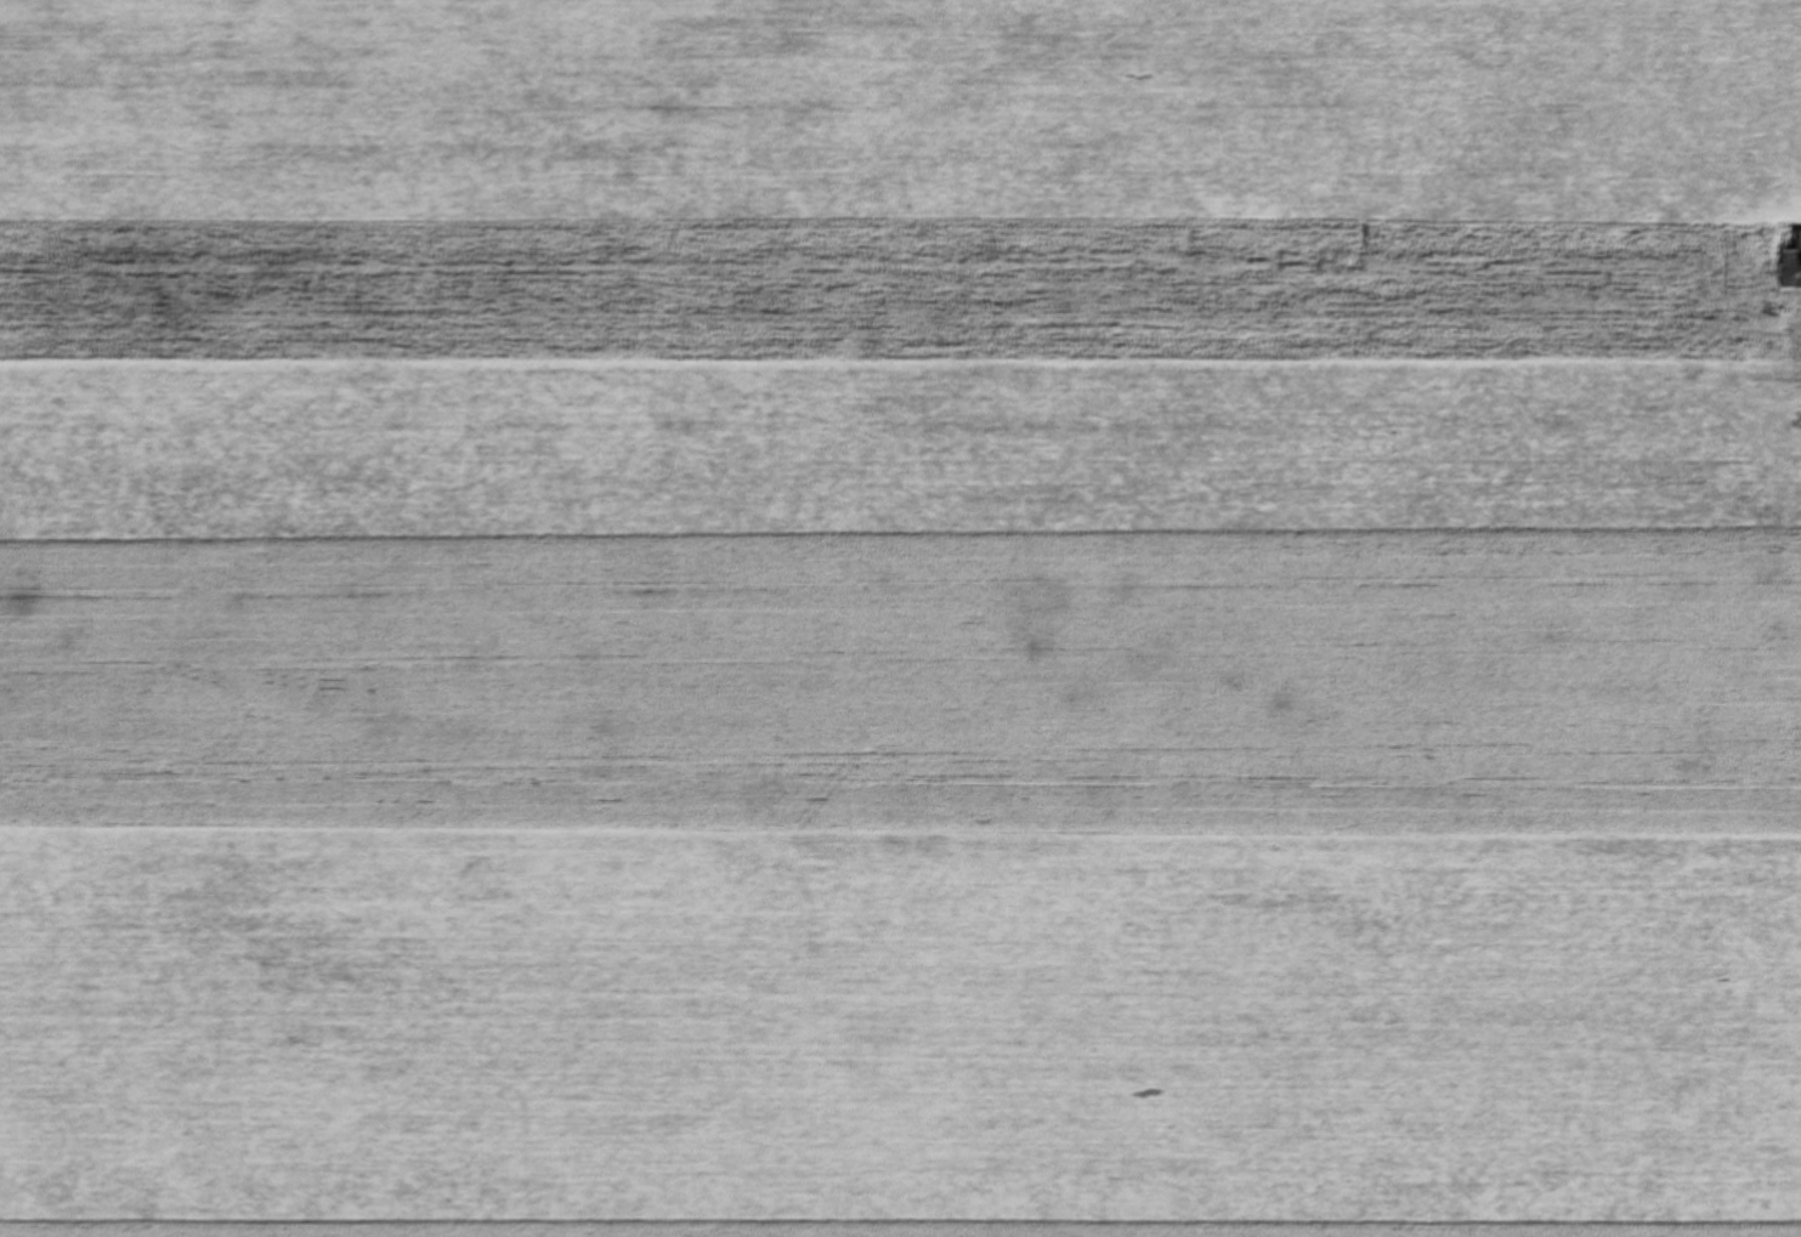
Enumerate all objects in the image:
building: (1799, 240)

